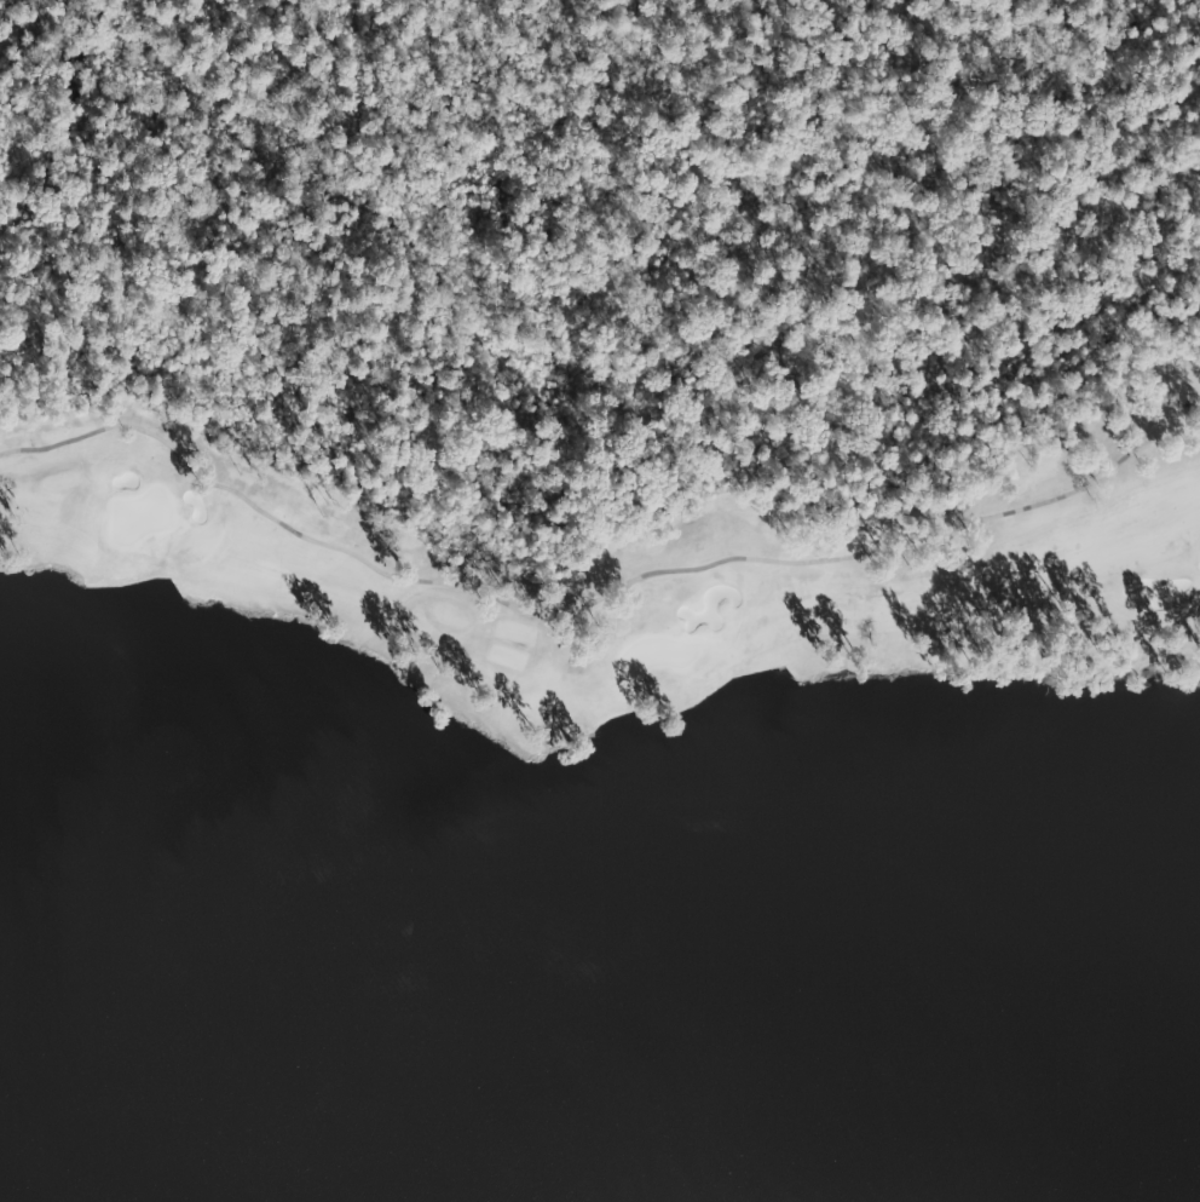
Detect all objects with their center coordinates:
park: (607, 387)
park: (140, 513)
road: (585, 602)
park: (653, 655)

